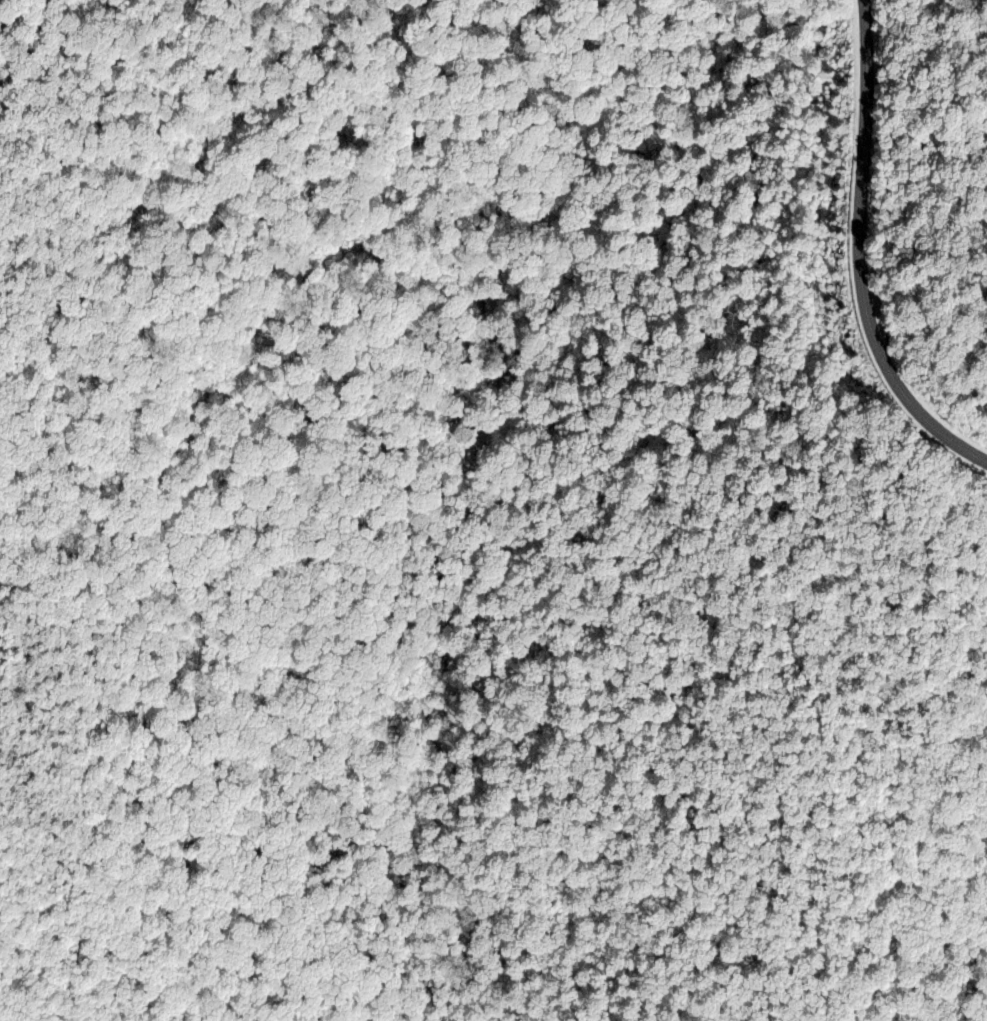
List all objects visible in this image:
road: (859, 255)

